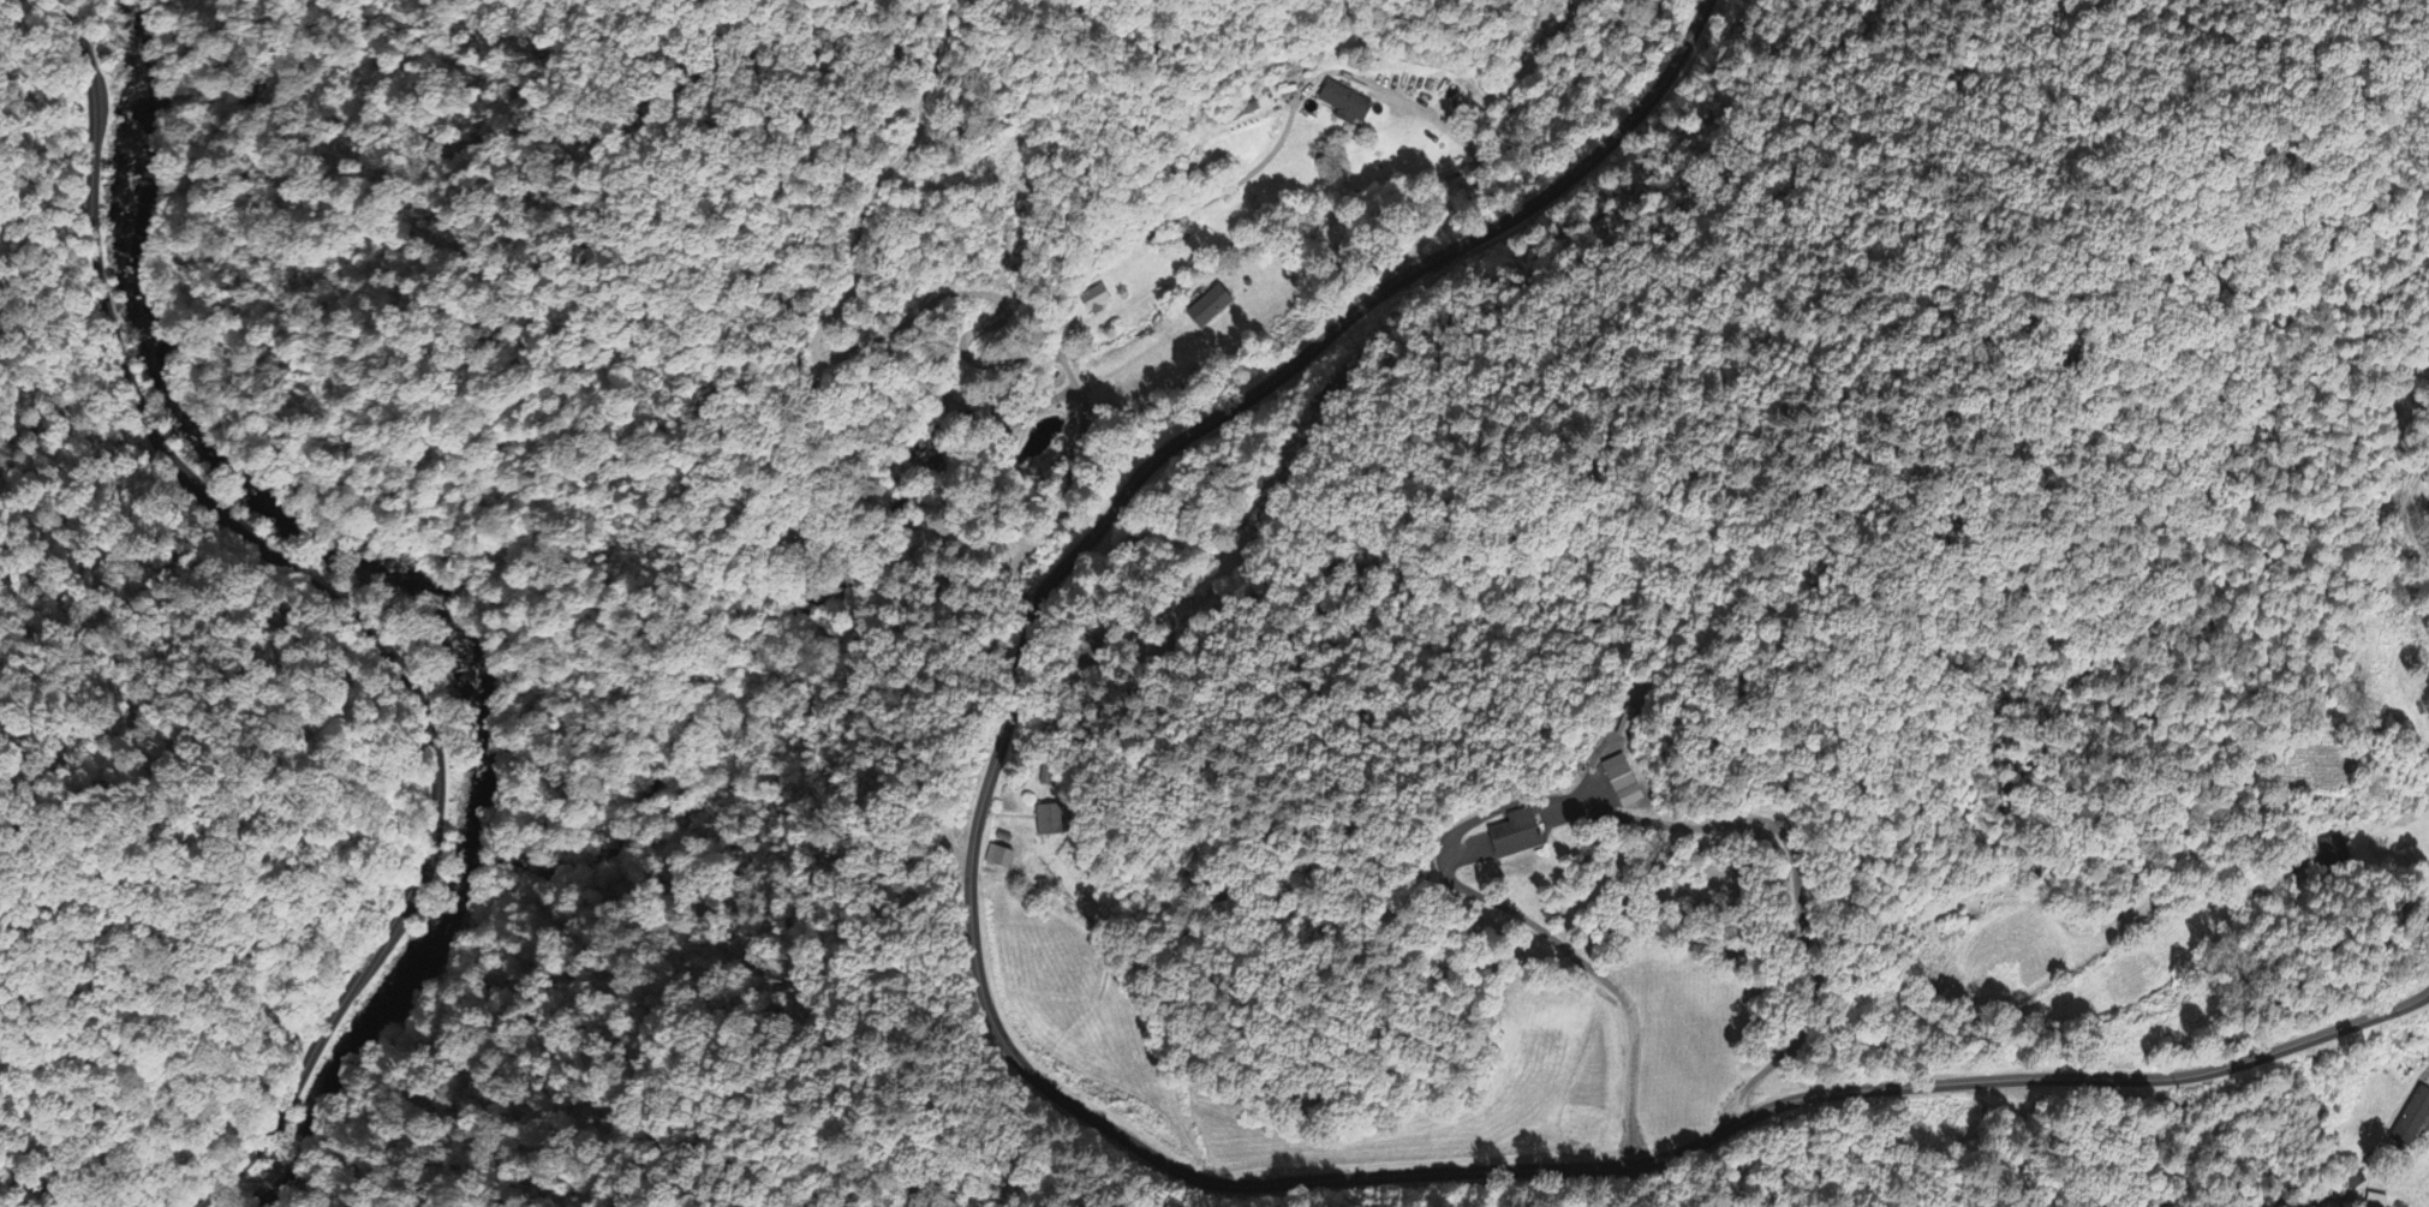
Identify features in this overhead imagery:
building: (1348, 109)
building: (1096, 303)
road: (1384, 329)
road: (1062, 331)
river: (237, 467)
building: (2428, 519)
road: (336, 605)
building: (2428, 755)
building: (1624, 784)
building: (1049, 823)
building: (1518, 838)
building: (1001, 860)
river: (368, 1026)
building: (2415, 1122)
road: (1533, 1145)
building: (2376, 1202)

